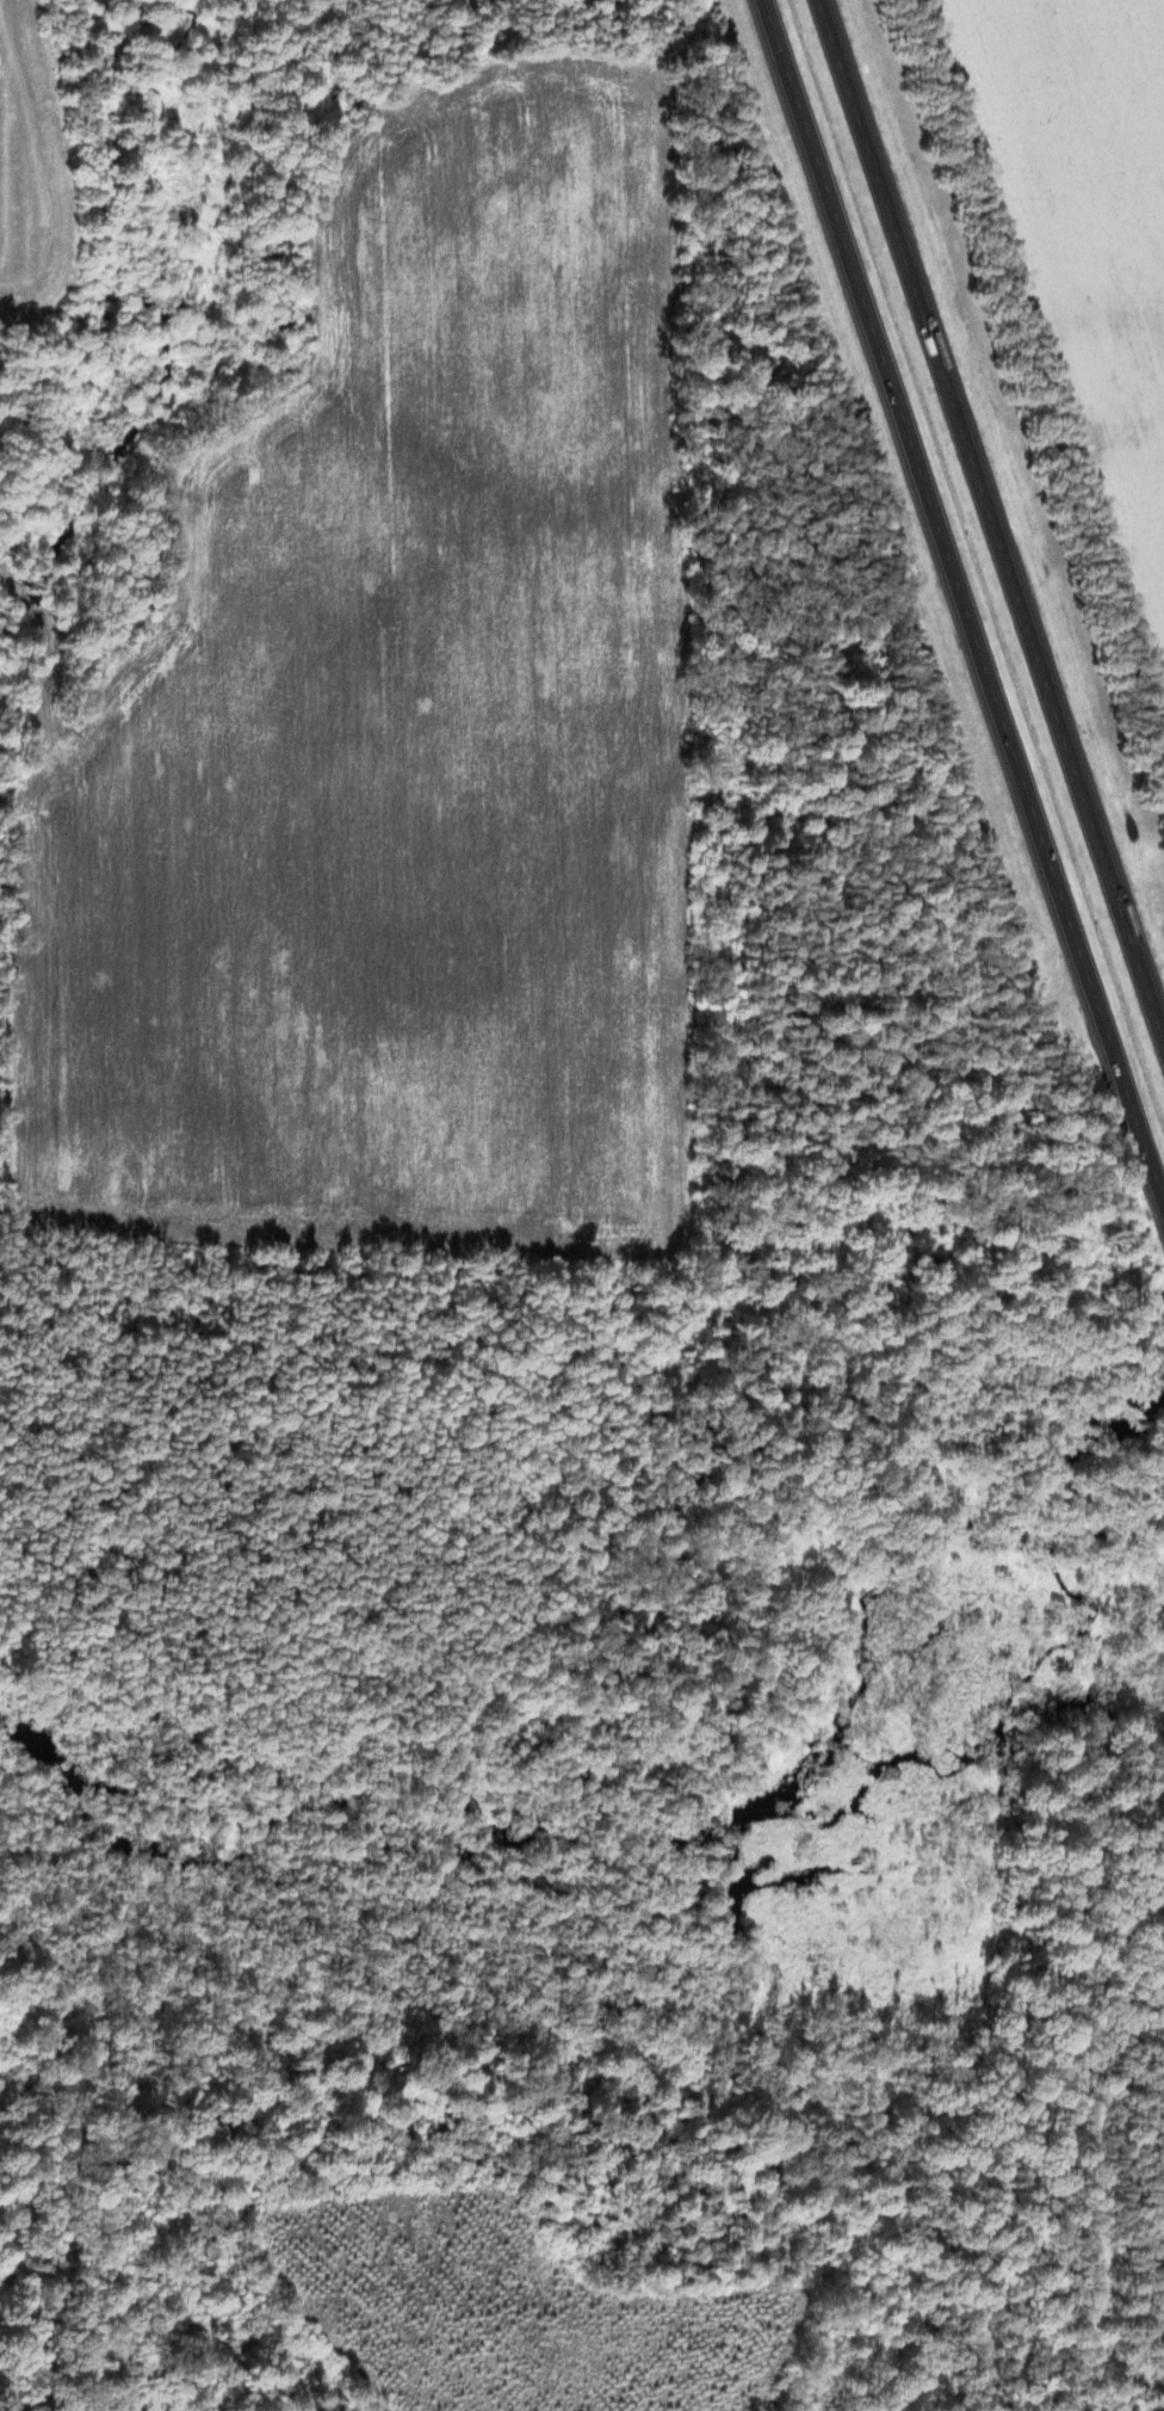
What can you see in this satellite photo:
road: (992, 520)
road: (965, 599)
crop: (390, 740)

